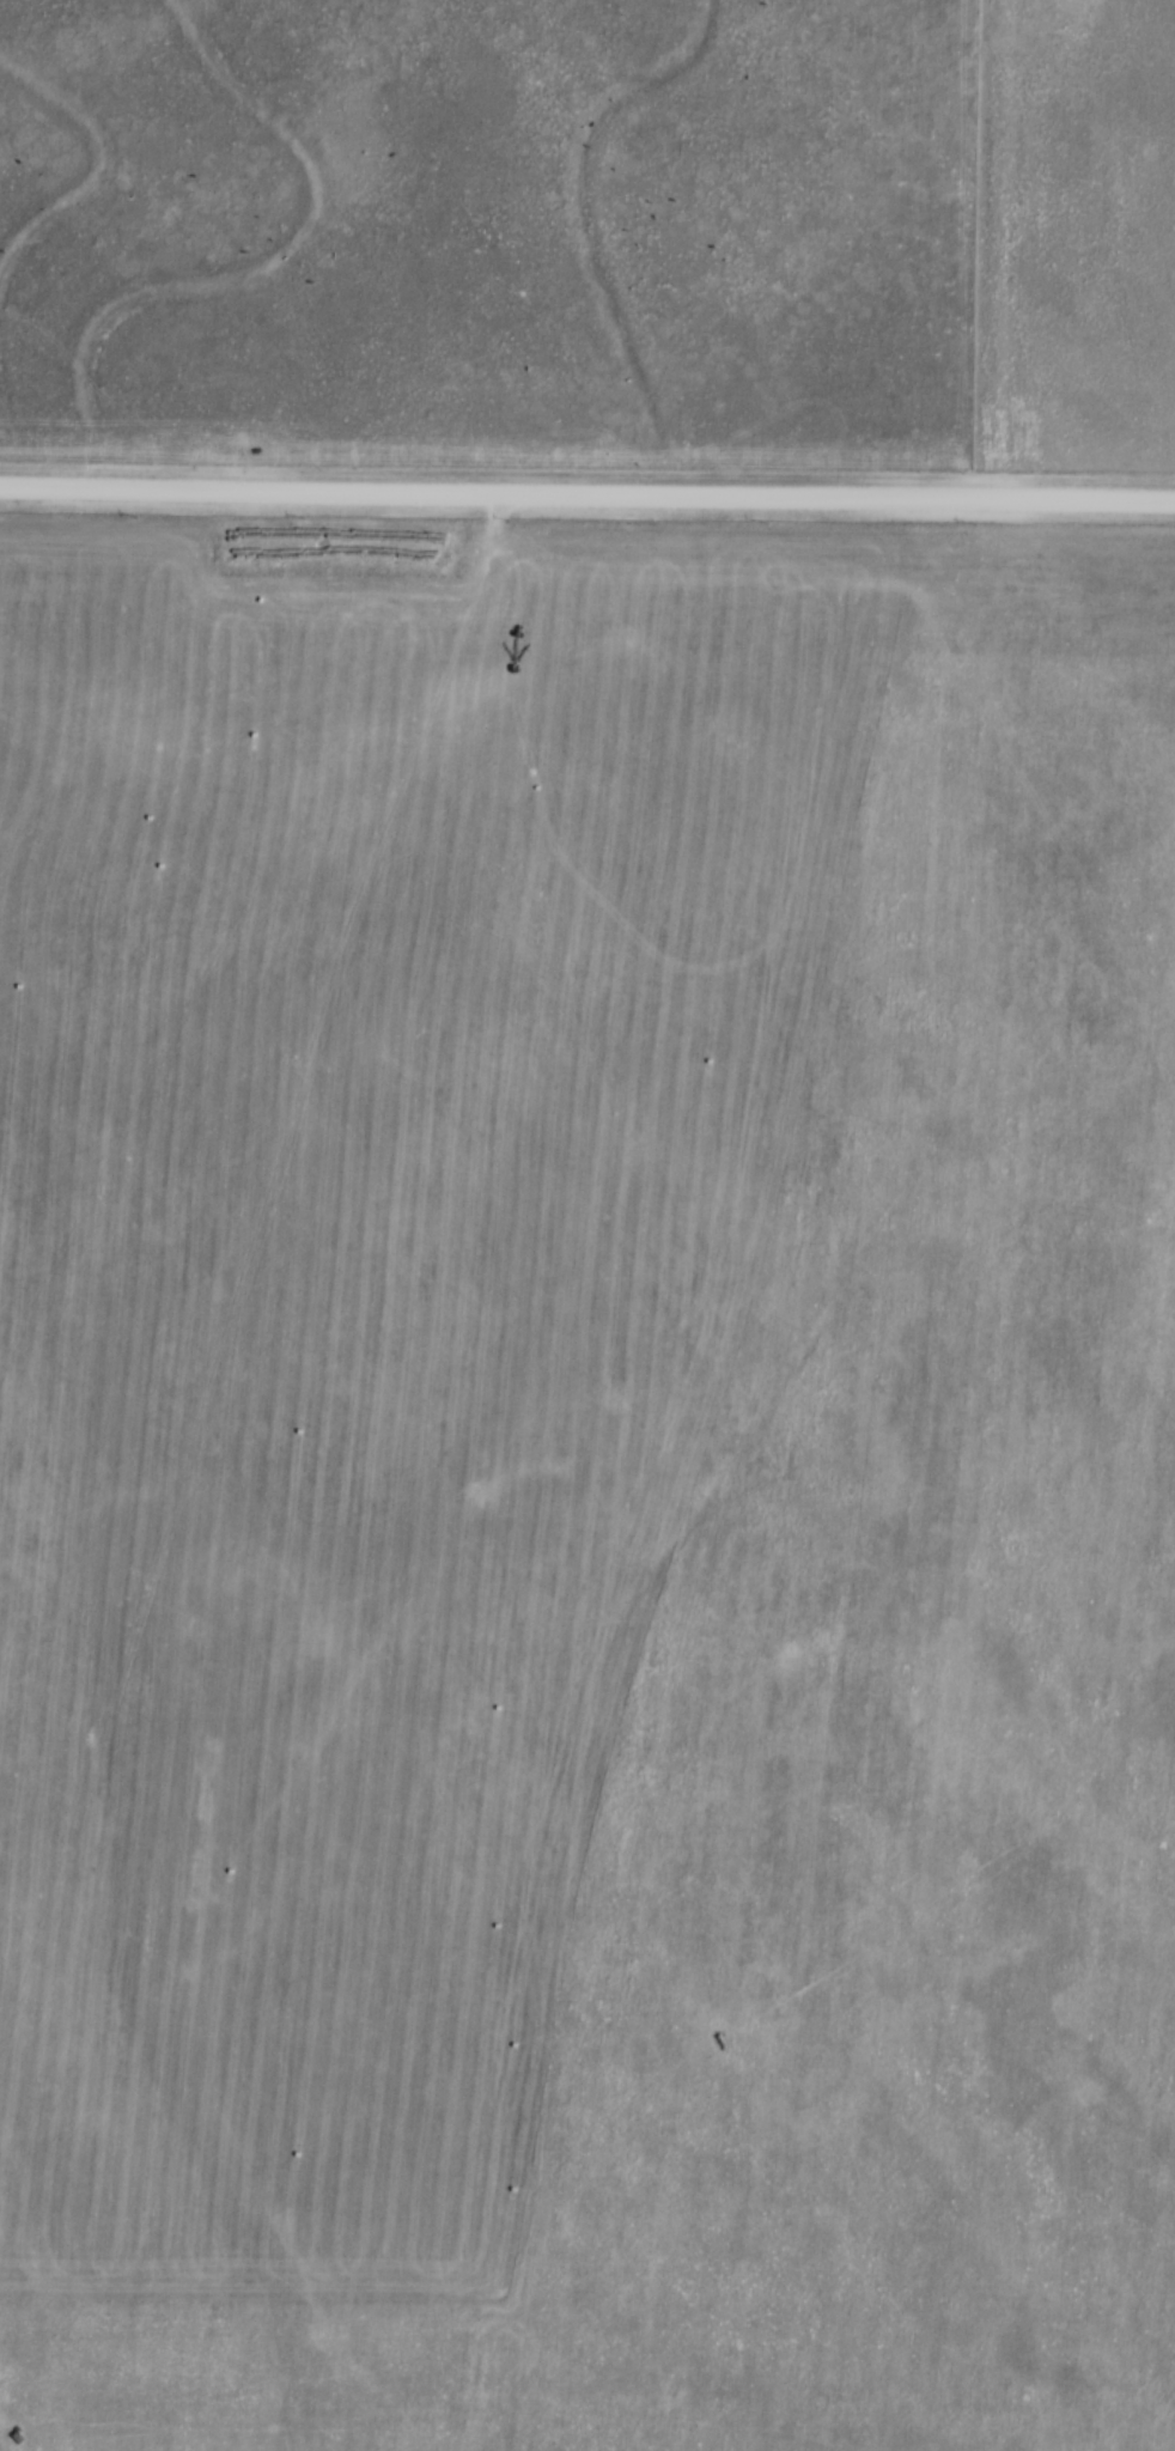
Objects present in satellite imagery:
road: (586, 493)

